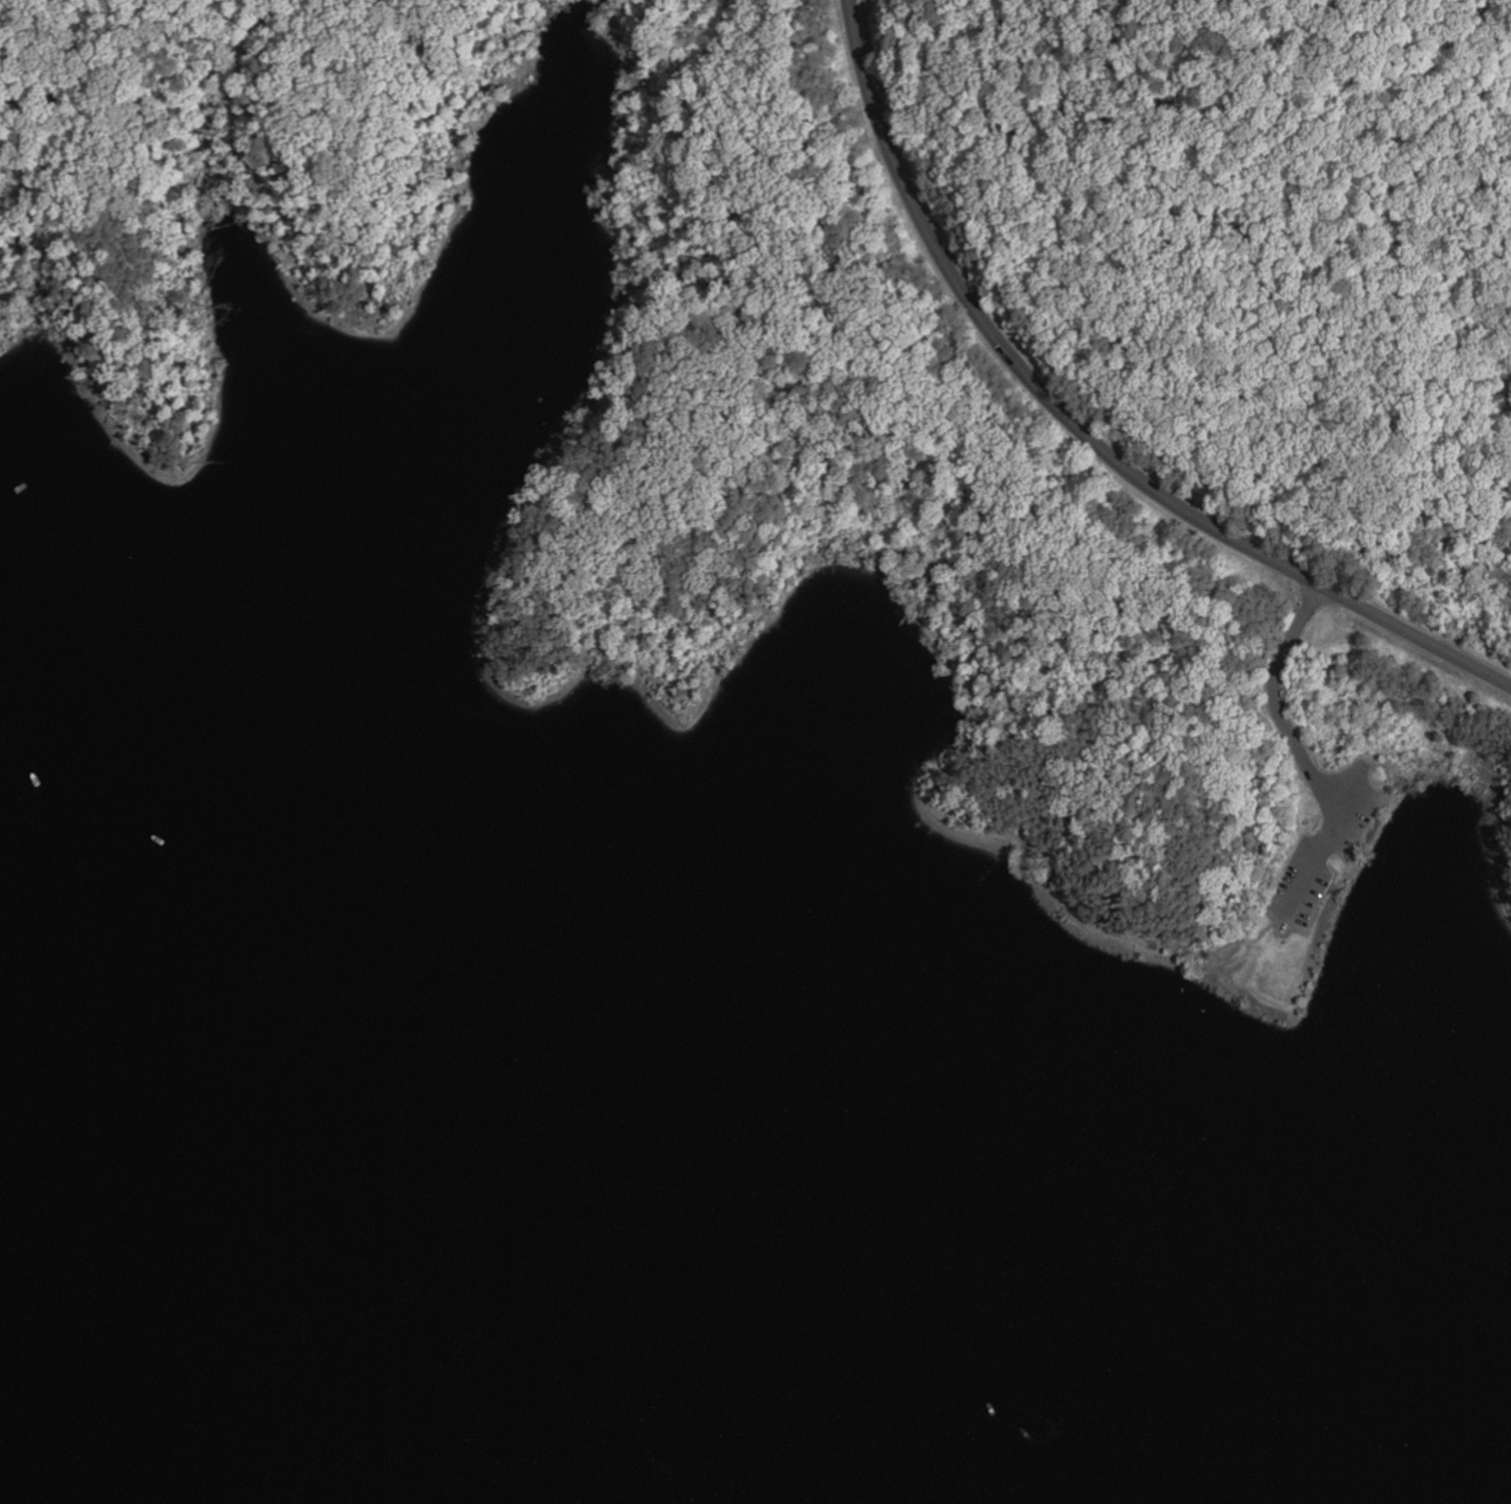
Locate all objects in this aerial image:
road: (1080, 432)
road: (1294, 741)
parking lot: (1334, 837)

